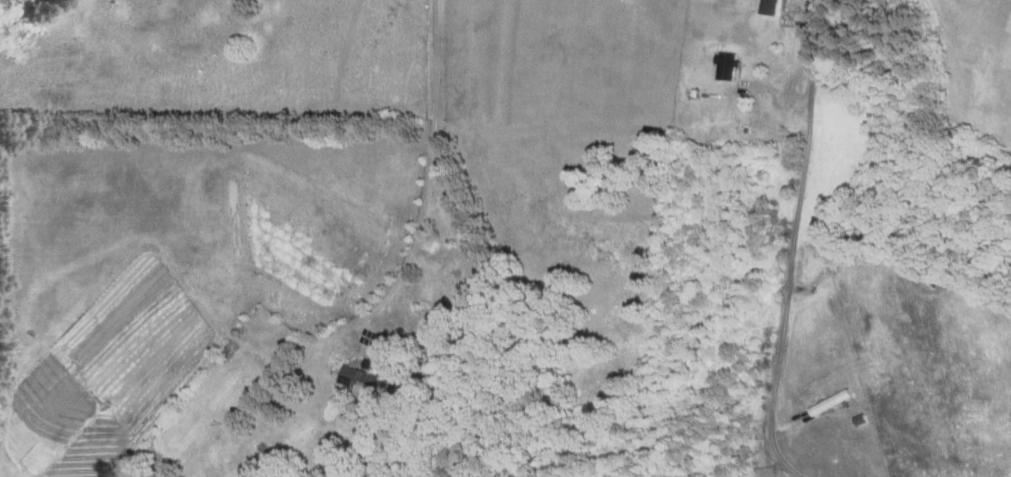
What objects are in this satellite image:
road: (804, 44)
building: (726, 66)
road: (415, 239)
road: (791, 284)
building: (364, 382)
building: (136, 473)

